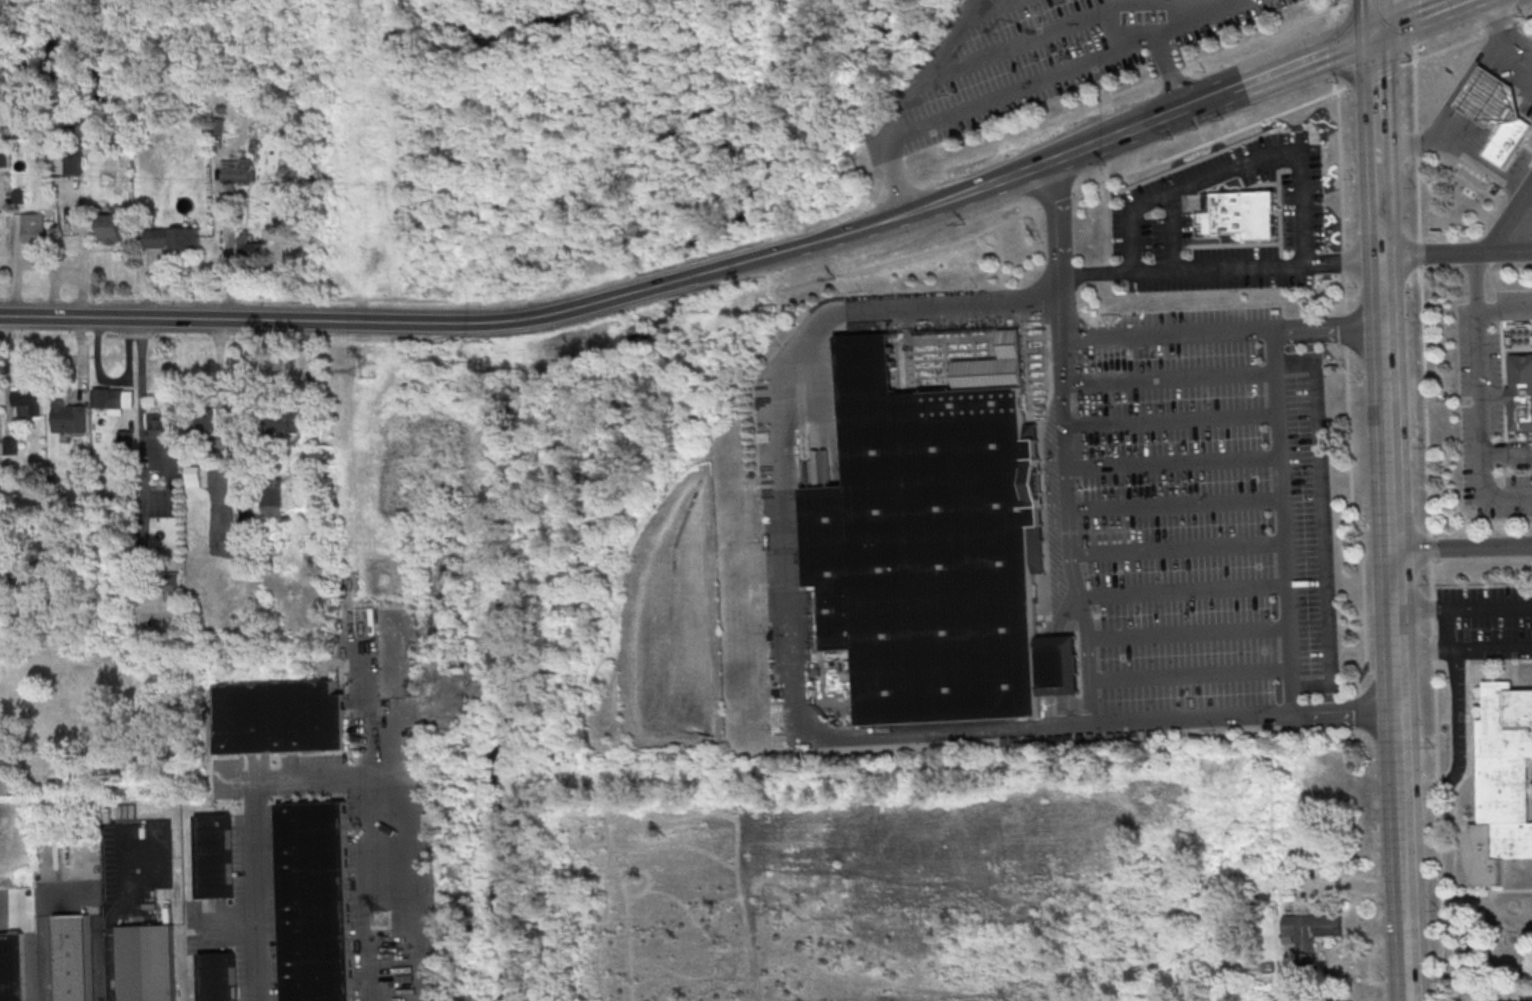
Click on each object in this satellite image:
road: (1449, 1)
road: (1150, 2)
road: (1371, 16)
road: (1415, 16)
traffic signals: (1372, 33)
road: (1509, 38)
parking lot: (1045, 55)
road: (1301, 60)
road: (931, 63)
road: (1170, 68)
road: (1372, 72)
road: (1026, 81)
road: (1207, 97)
building: (1490, 99)
road: (1302, 104)
road: (1375, 129)
building: (1507, 139)
road: (1081, 147)
road: (1456, 148)
road: (1376, 159)
building: (75, 161)
road: (1239, 169)
building: (236, 170)
road: (1378, 202)
building: (1242, 216)
road: (1509, 218)
road: (890, 221)
building: (1, 222)
parking lot: (1524, 225)
building: (34, 228)
building: (111, 228)
building: (175, 239)
road: (1380, 243)
building: (251, 246)
road: (1509, 250)
road: (1433, 252)
road: (1381, 256)
road: (1220, 265)
road: (658, 286)
road: (1505, 308)
road: (235, 320)
road: (494, 322)
road: (1222, 331)
road: (83, 362)
power tower: (367, 370)
road: (222, 372)
road: (129, 375)
road: (1168, 378)
building: (1520, 394)
road: (1481, 396)
building: (109, 399)
road: (1386, 401)
building: (29, 403)
parking lot: (1486, 406)
road: (144, 414)
building: (69, 416)
road: (1170, 419)
building: (286, 423)
building: (204, 426)
building: (127, 439)
road: (1507, 443)
building: (164, 444)
building: (11, 447)
road: (1507, 458)
road: (1172, 462)
building: (193, 476)
building: (241, 481)
building: (271, 498)
road: (1429, 500)
road: (1174, 504)
parking lot: (1194, 516)
road: (1282, 522)
road: (1321, 523)
road: (1461, 543)
road: (1178, 548)
road: (785, 549)
building: (931, 551)
building: (172, 579)
road: (1182, 591)
road: (1079, 594)
road: (1463, 608)
road: (1187, 633)
parking lot: (1479, 637)
road: (1464, 648)
road: (1189, 675)
building: (279, 716)
road: (1454, 742)
road: (1401, 772)
road: (336, 783)
building: (1502, 784)
building: (214, 855)
building: (1261, 900)
building: (316, 901)
road: (110, 911)
power tower: (380, 918)
building: (1310, 939)
building: (72, 957)
building: (147, 962)
building: (11, 967)
building: (218, 976)
building: (1493, 1000)

